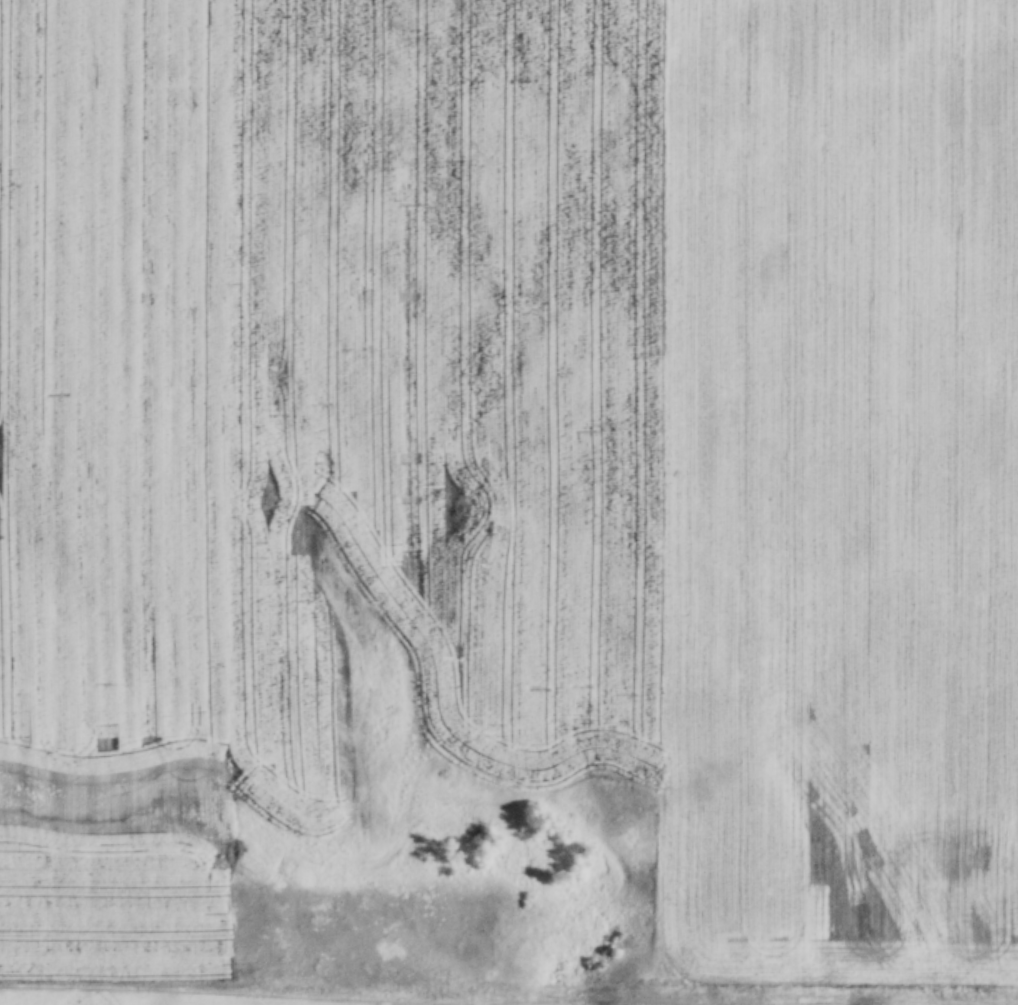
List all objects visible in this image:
building: (364, 279)

